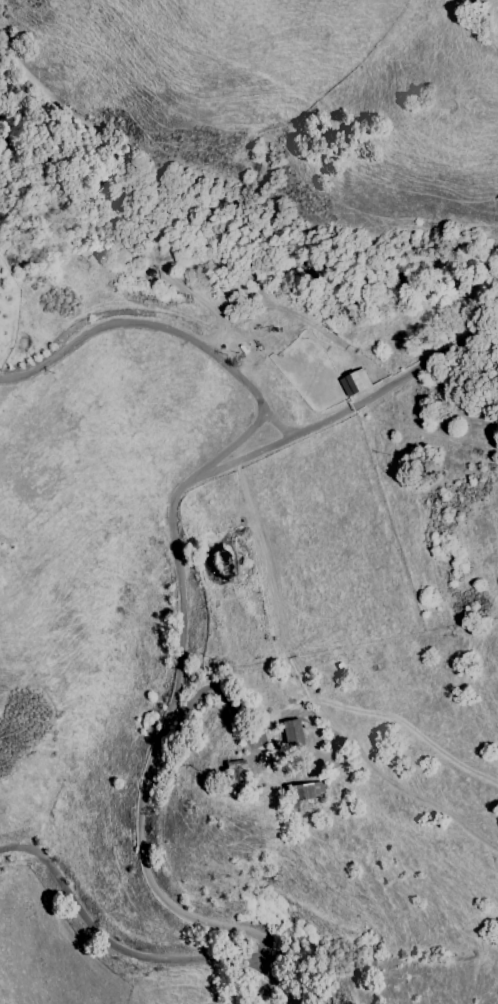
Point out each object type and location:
building: (354, 383)
road: (395, 384)
road: (173, 530)
building: (291, 732)
building: (308, 791)
road: (113, 949)
road: (275, 982)

